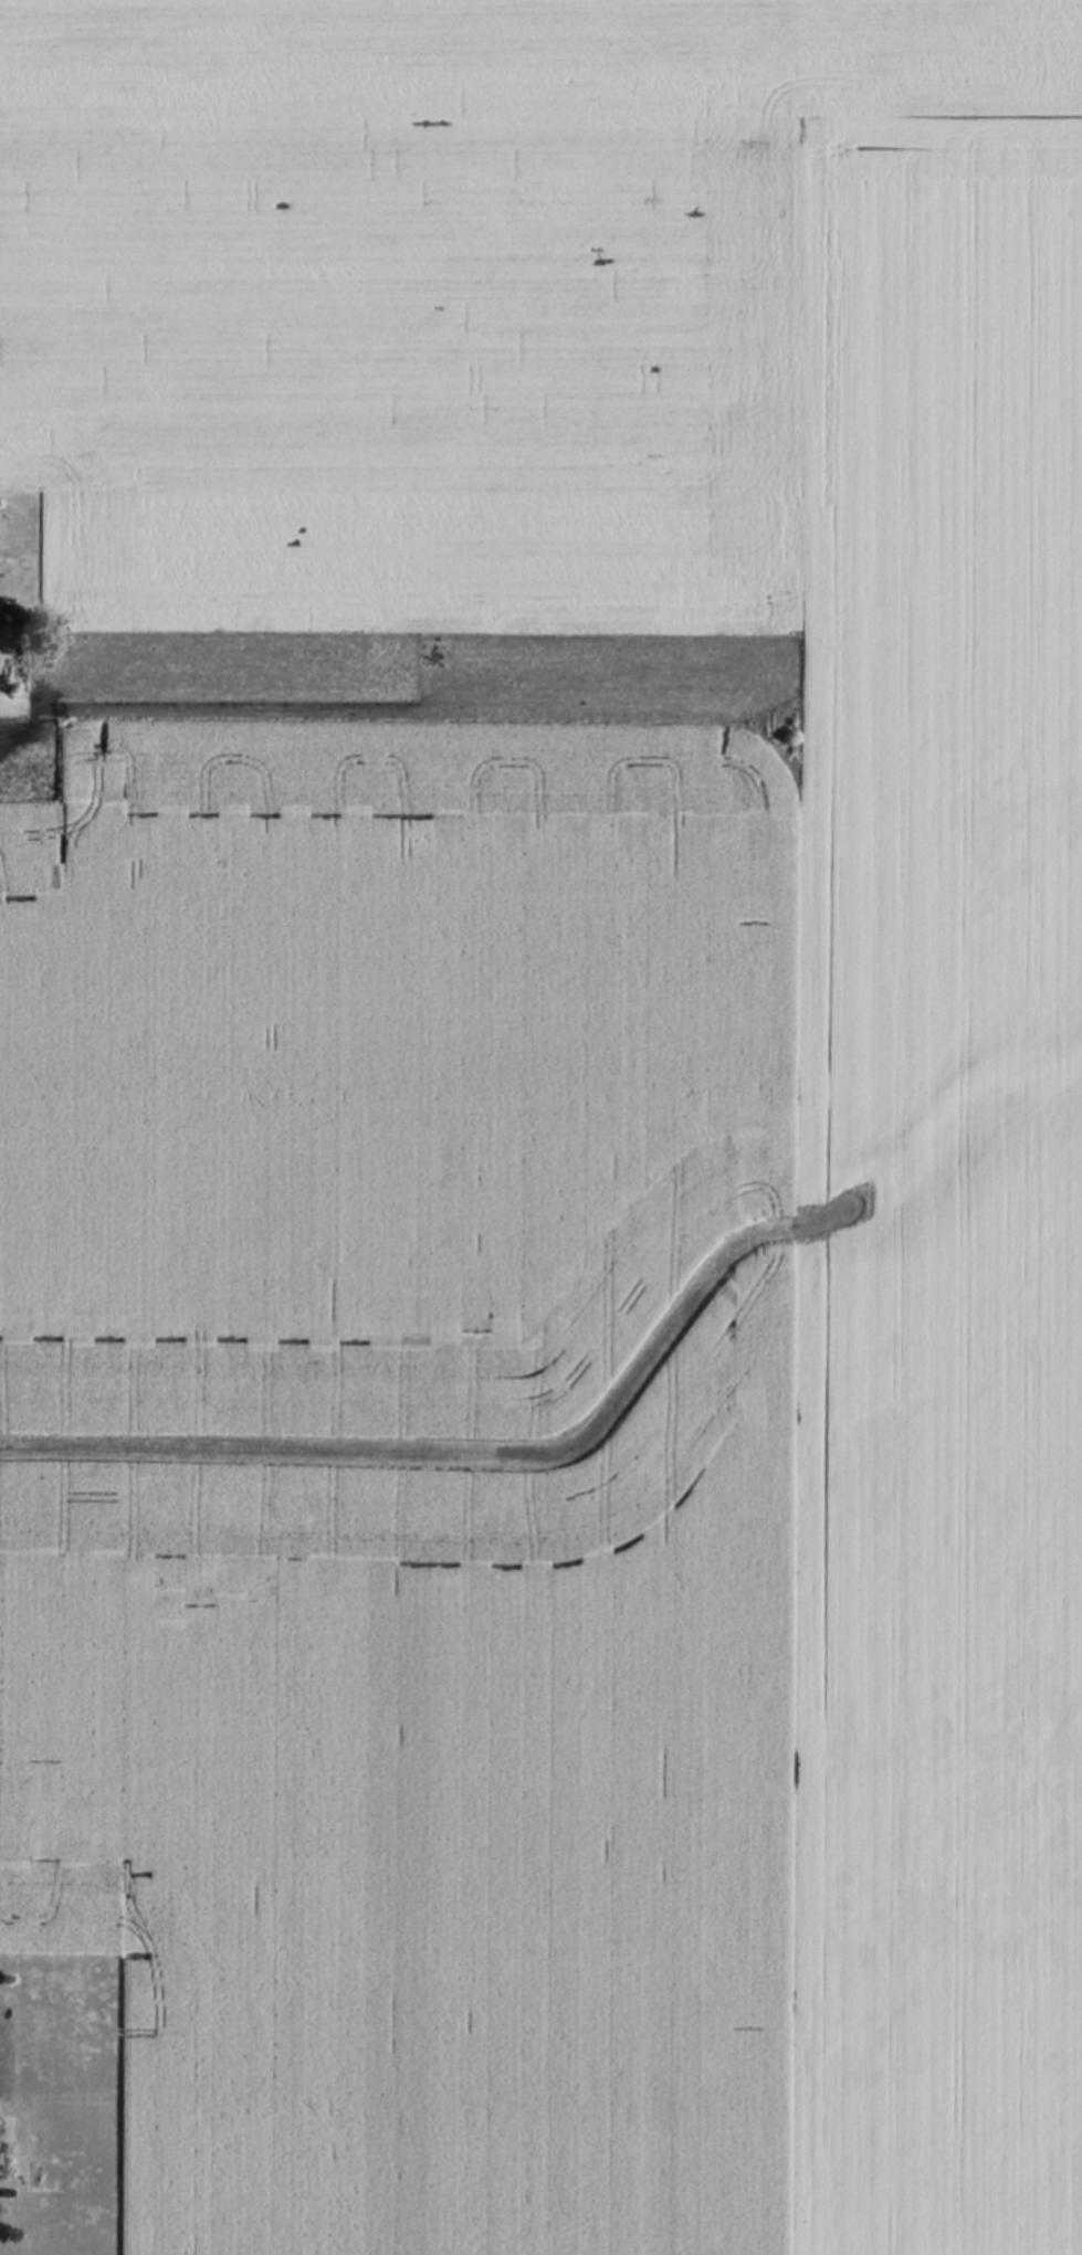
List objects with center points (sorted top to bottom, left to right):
crop: (434, 328)
crop: (935, 1190)
crop: (395, 1234)
crop: (427, 2001)

